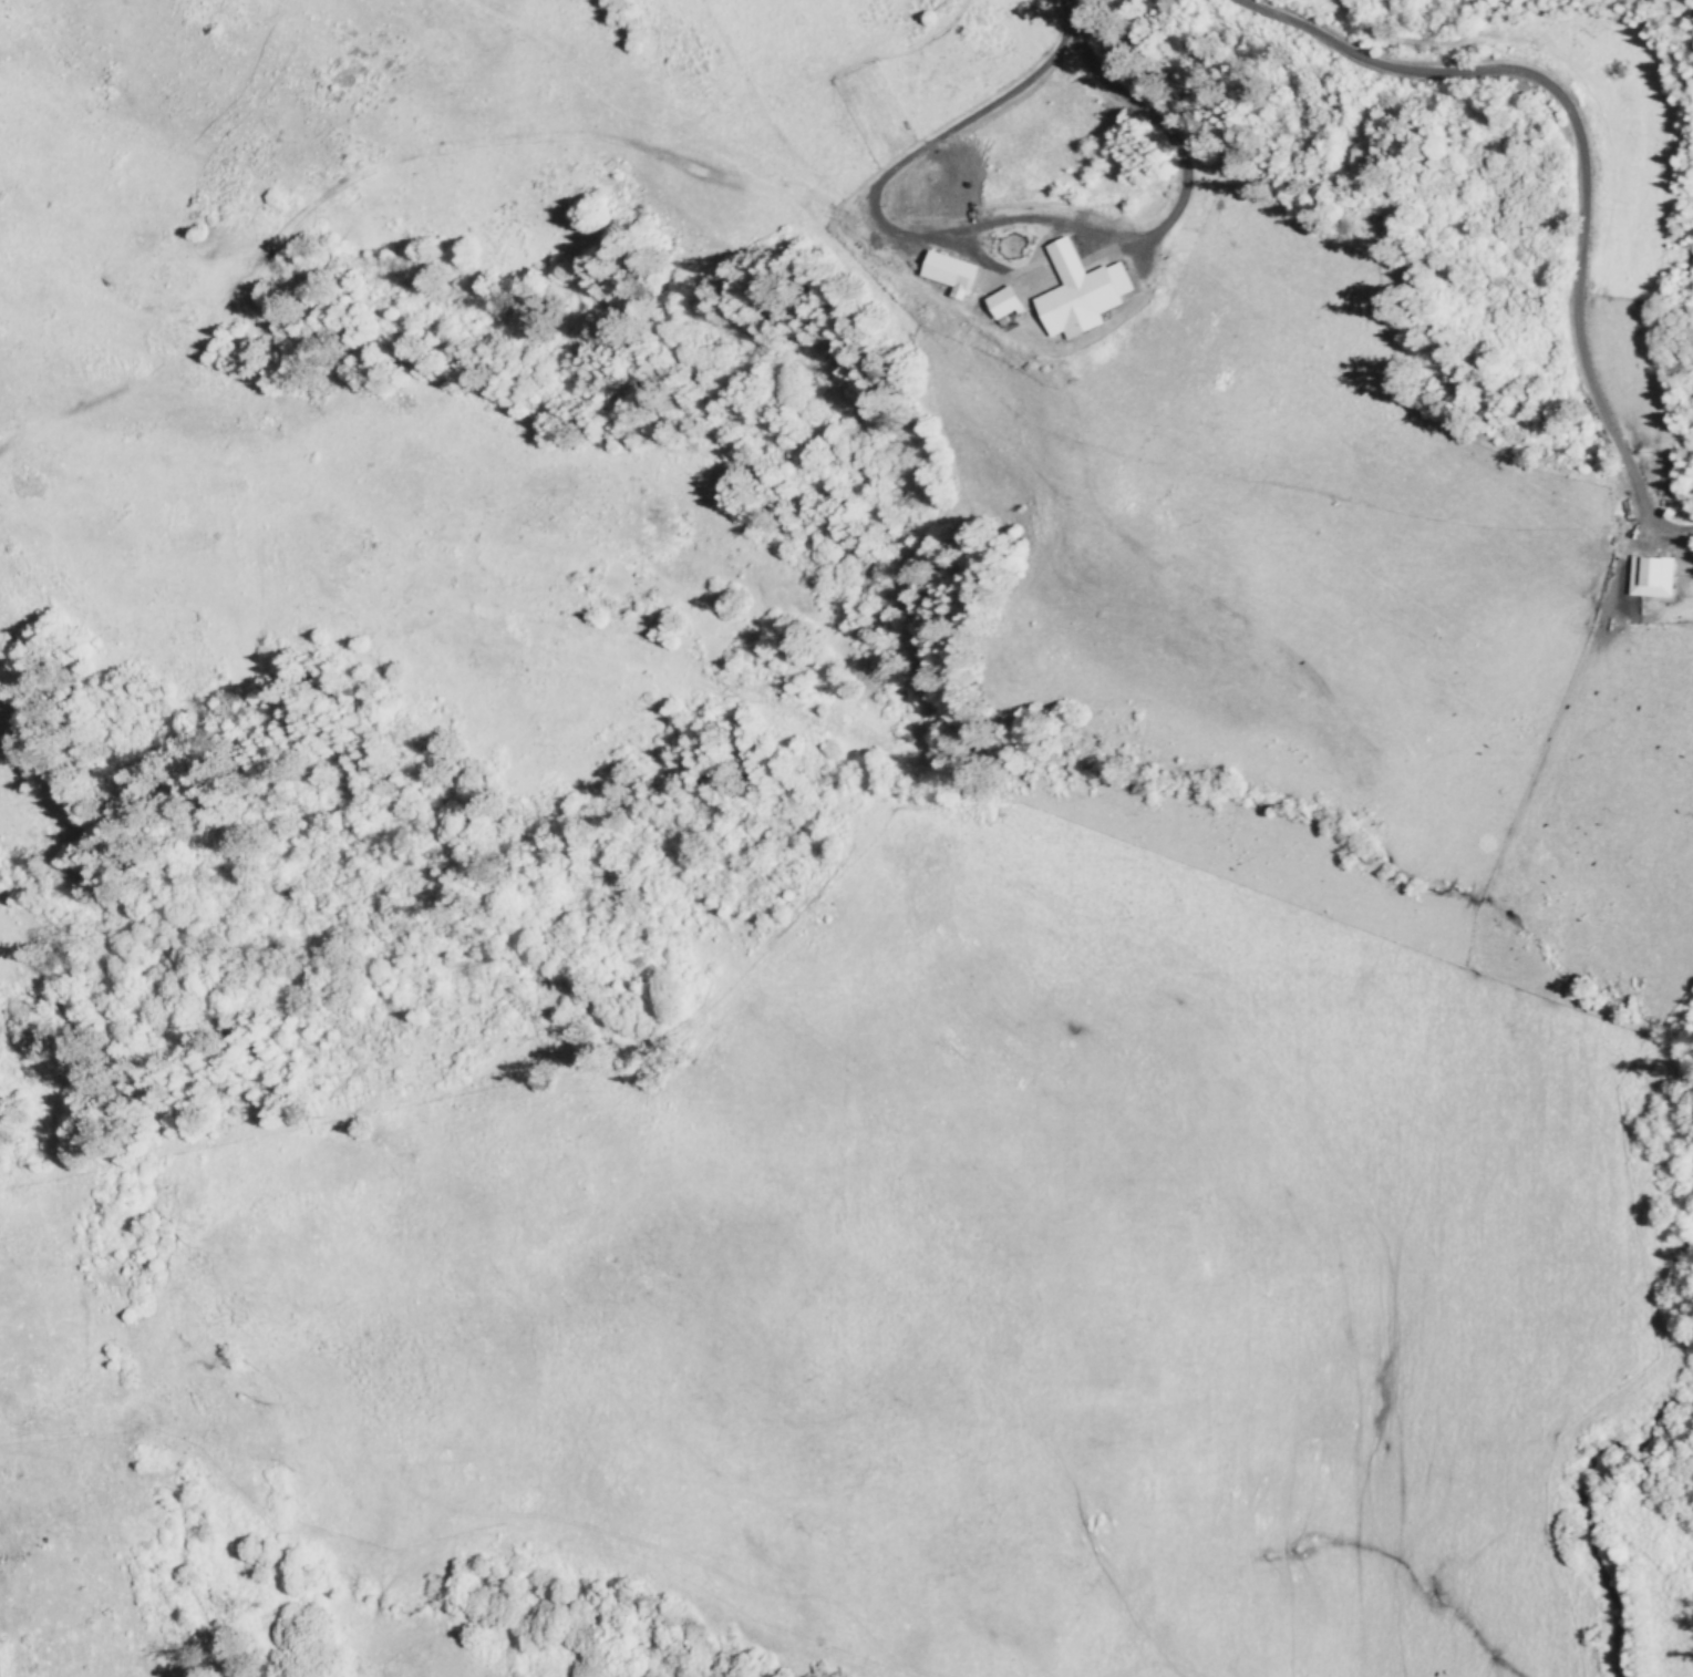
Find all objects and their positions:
building: (948, 272)
building: (1077, 292)
building: (1002, 302)
building: (1649, 576)

